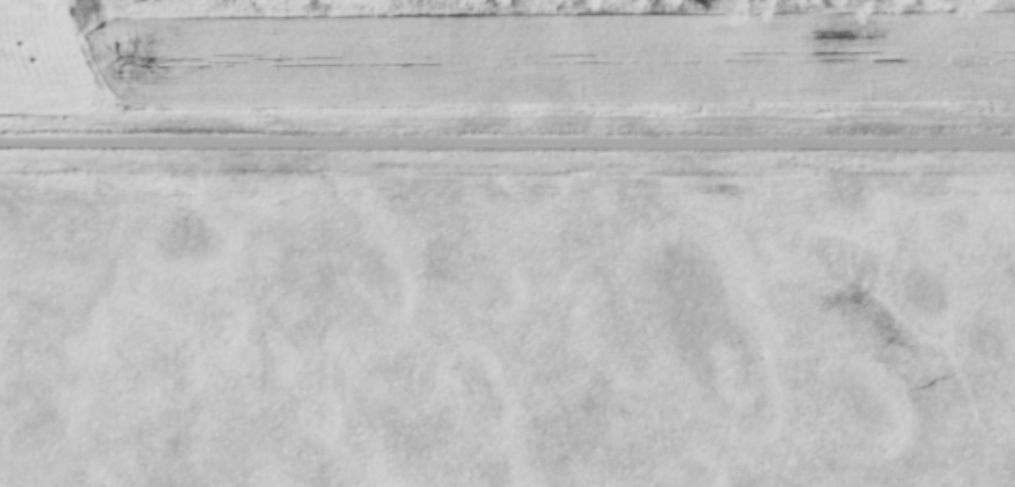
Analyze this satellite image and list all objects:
road: (507, 145)

